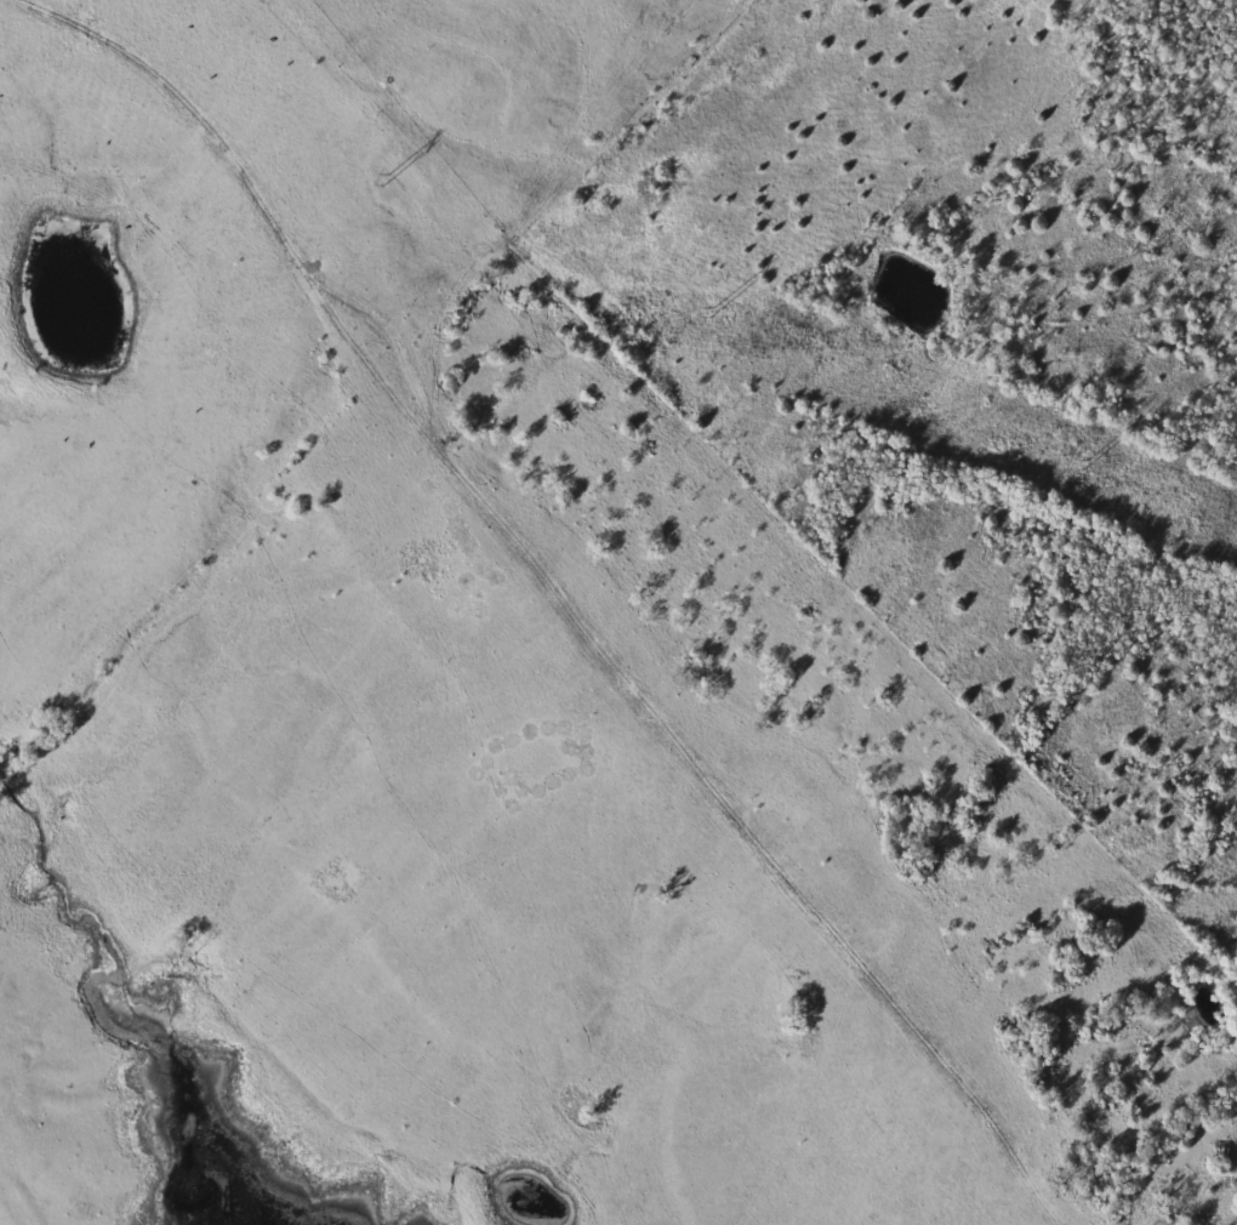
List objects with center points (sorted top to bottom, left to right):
power tower: (391, 177)
power tower: (714, 315)
power tower: (1078, 468)

